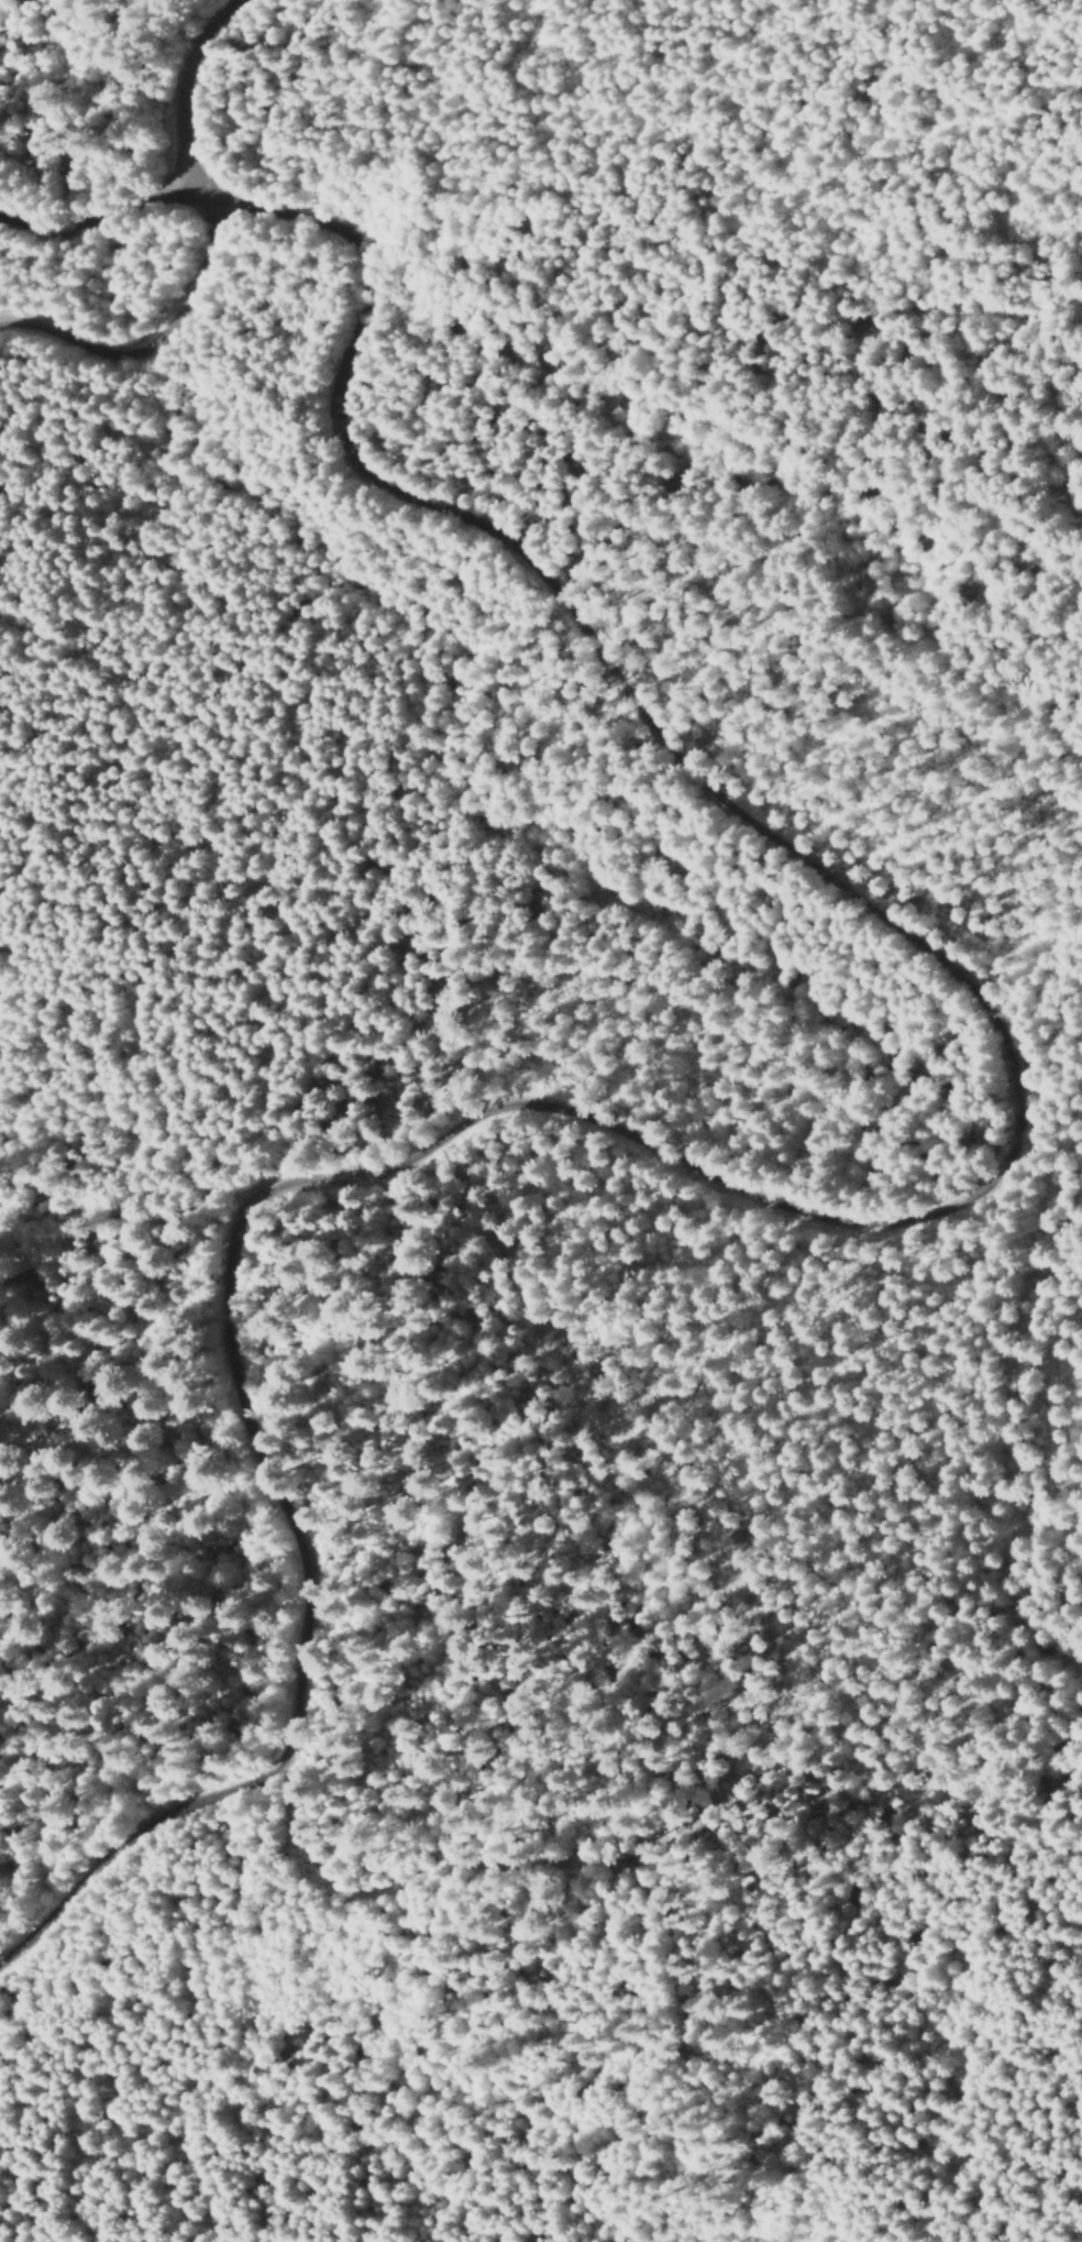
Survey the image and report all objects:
road: (101, 215)
road: (154, 338)
road: (953, 1207)

